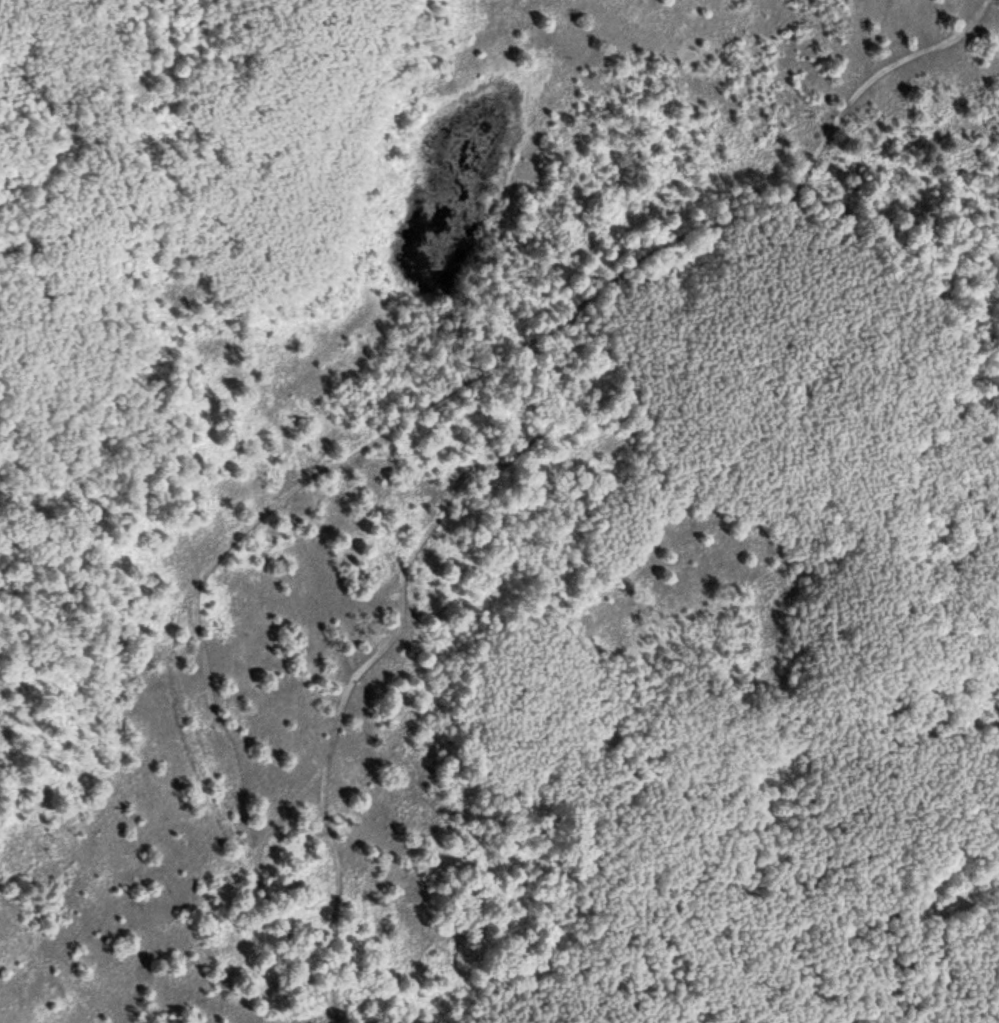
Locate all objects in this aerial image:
road: (405, 418)
road: (403, 574)
road: (192, 733)
road: (337, 892)

